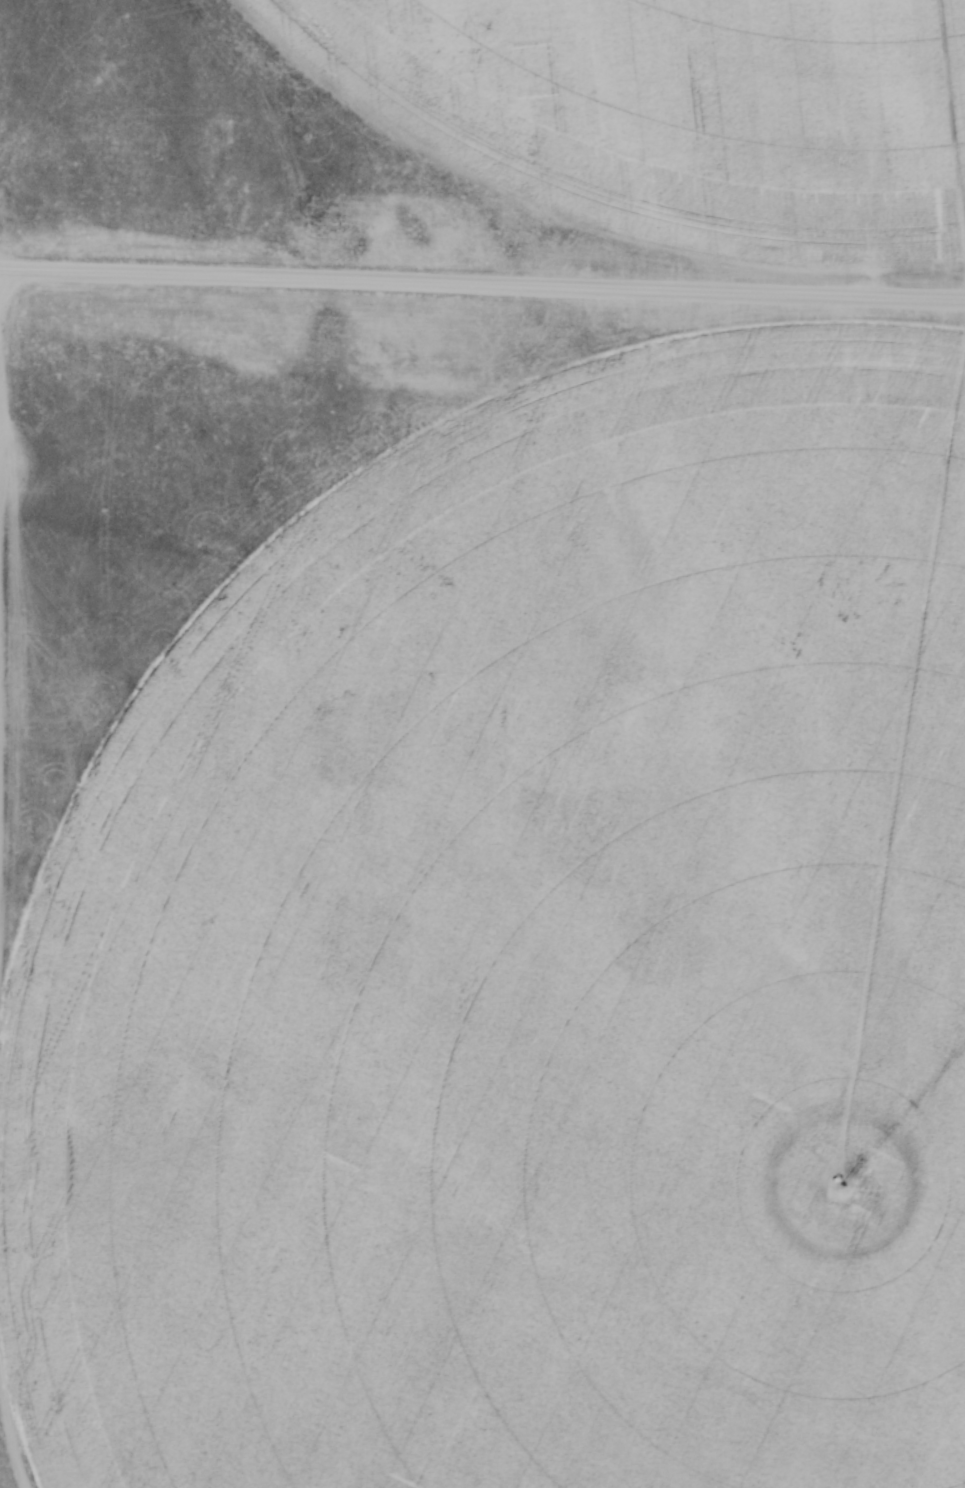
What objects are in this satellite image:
crop: (680, 114)
road: (482, 292)
crop: (529, 966)

